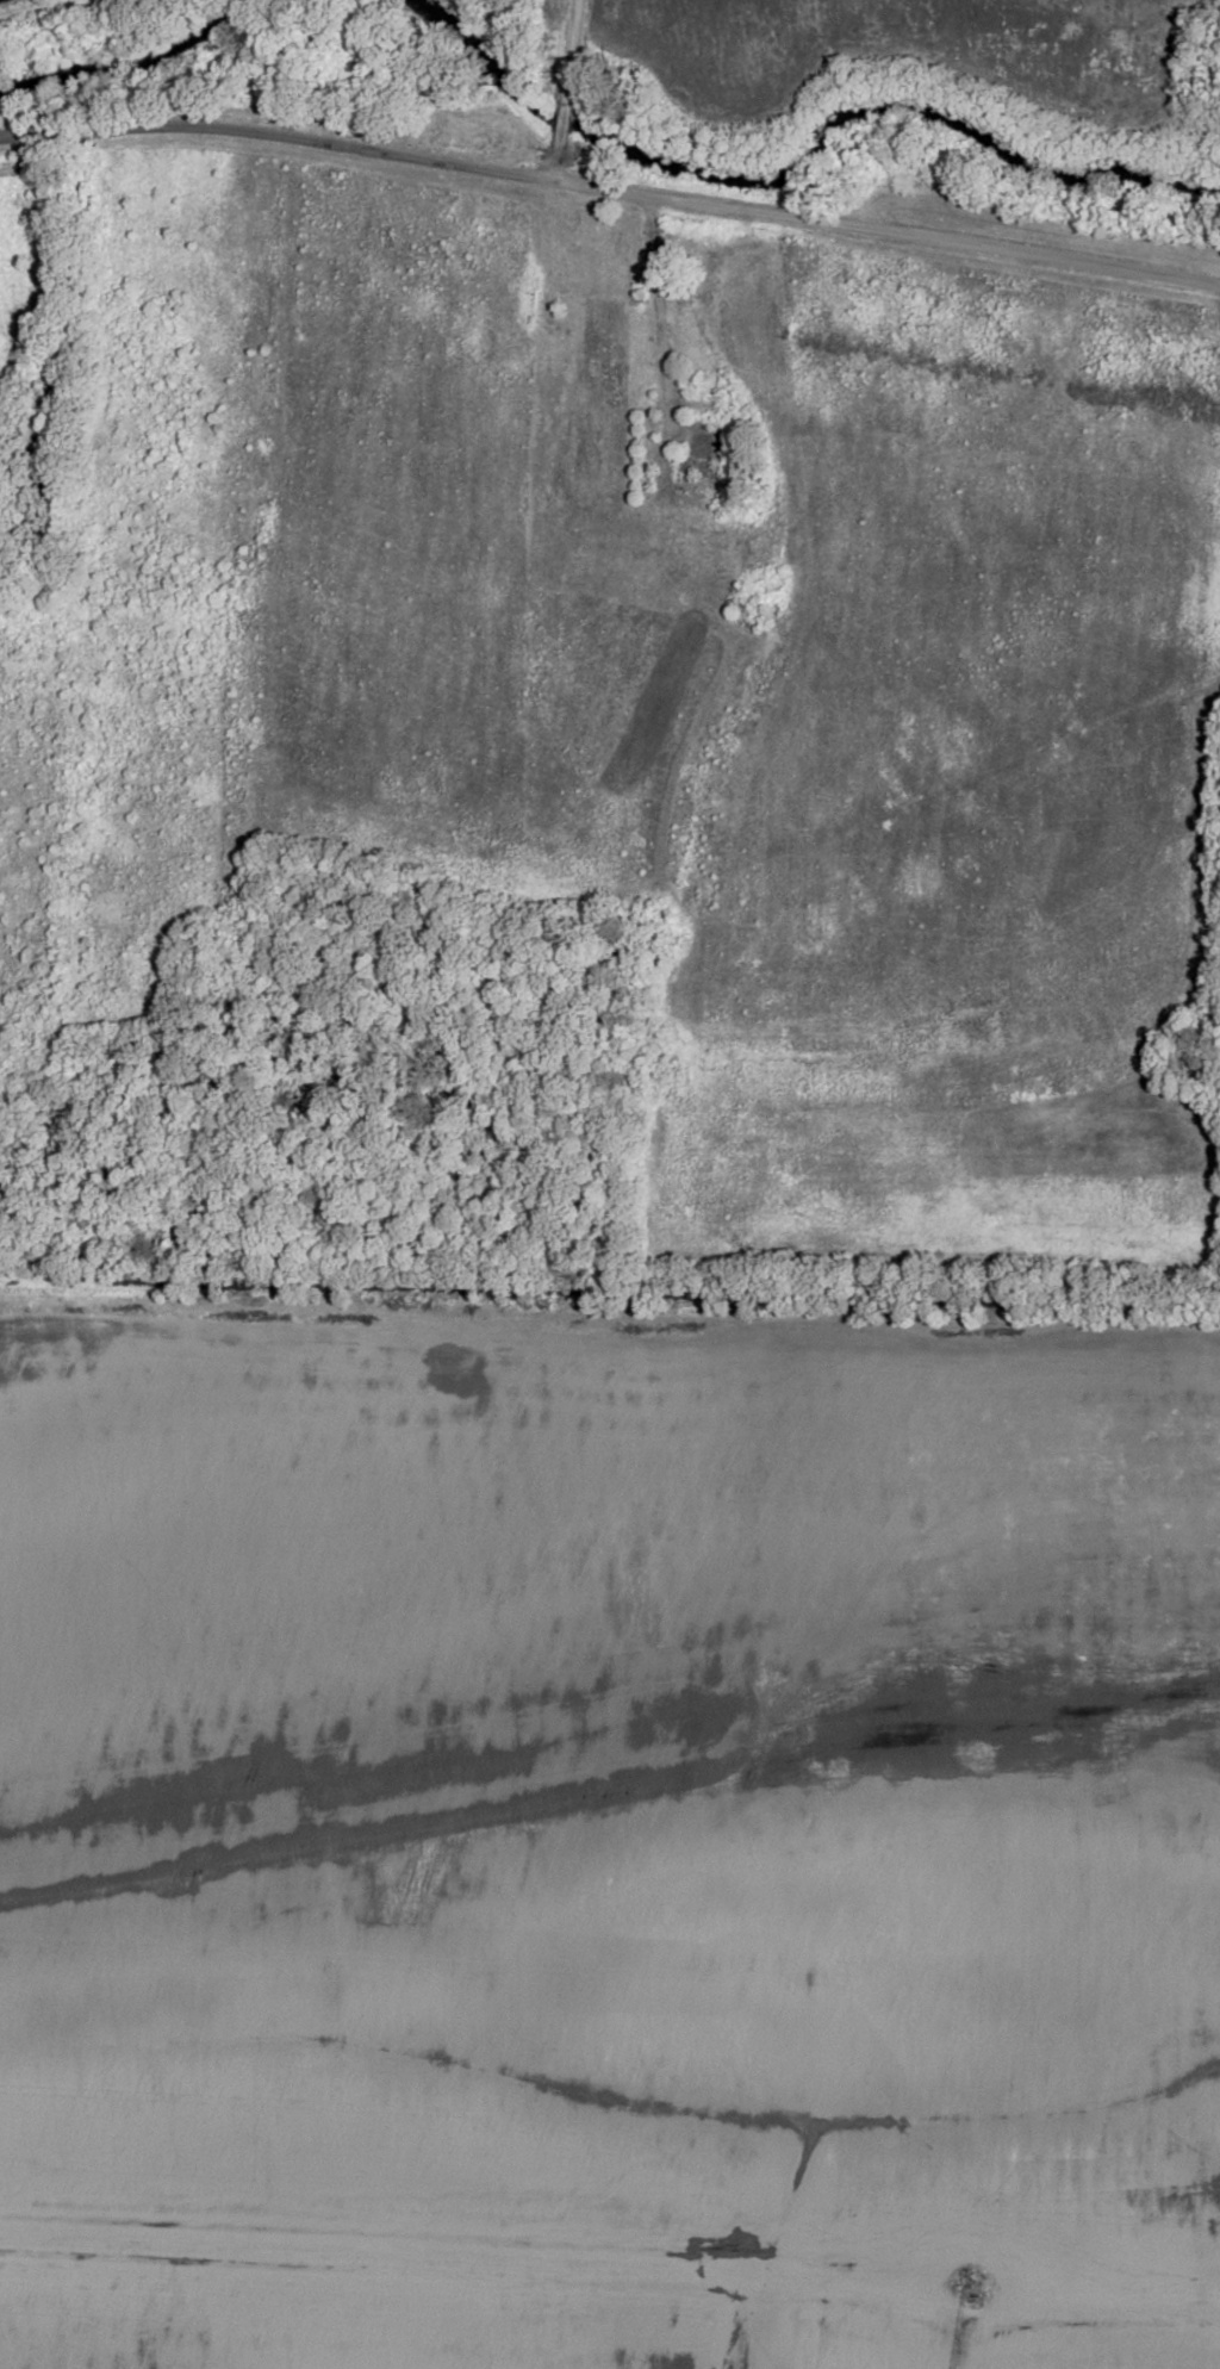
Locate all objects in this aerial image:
road: (18, 4)
road: (559, 88)
road: (611, 187)
road: (659, 321)
building: (703, 467)
road: (610, 2263)

